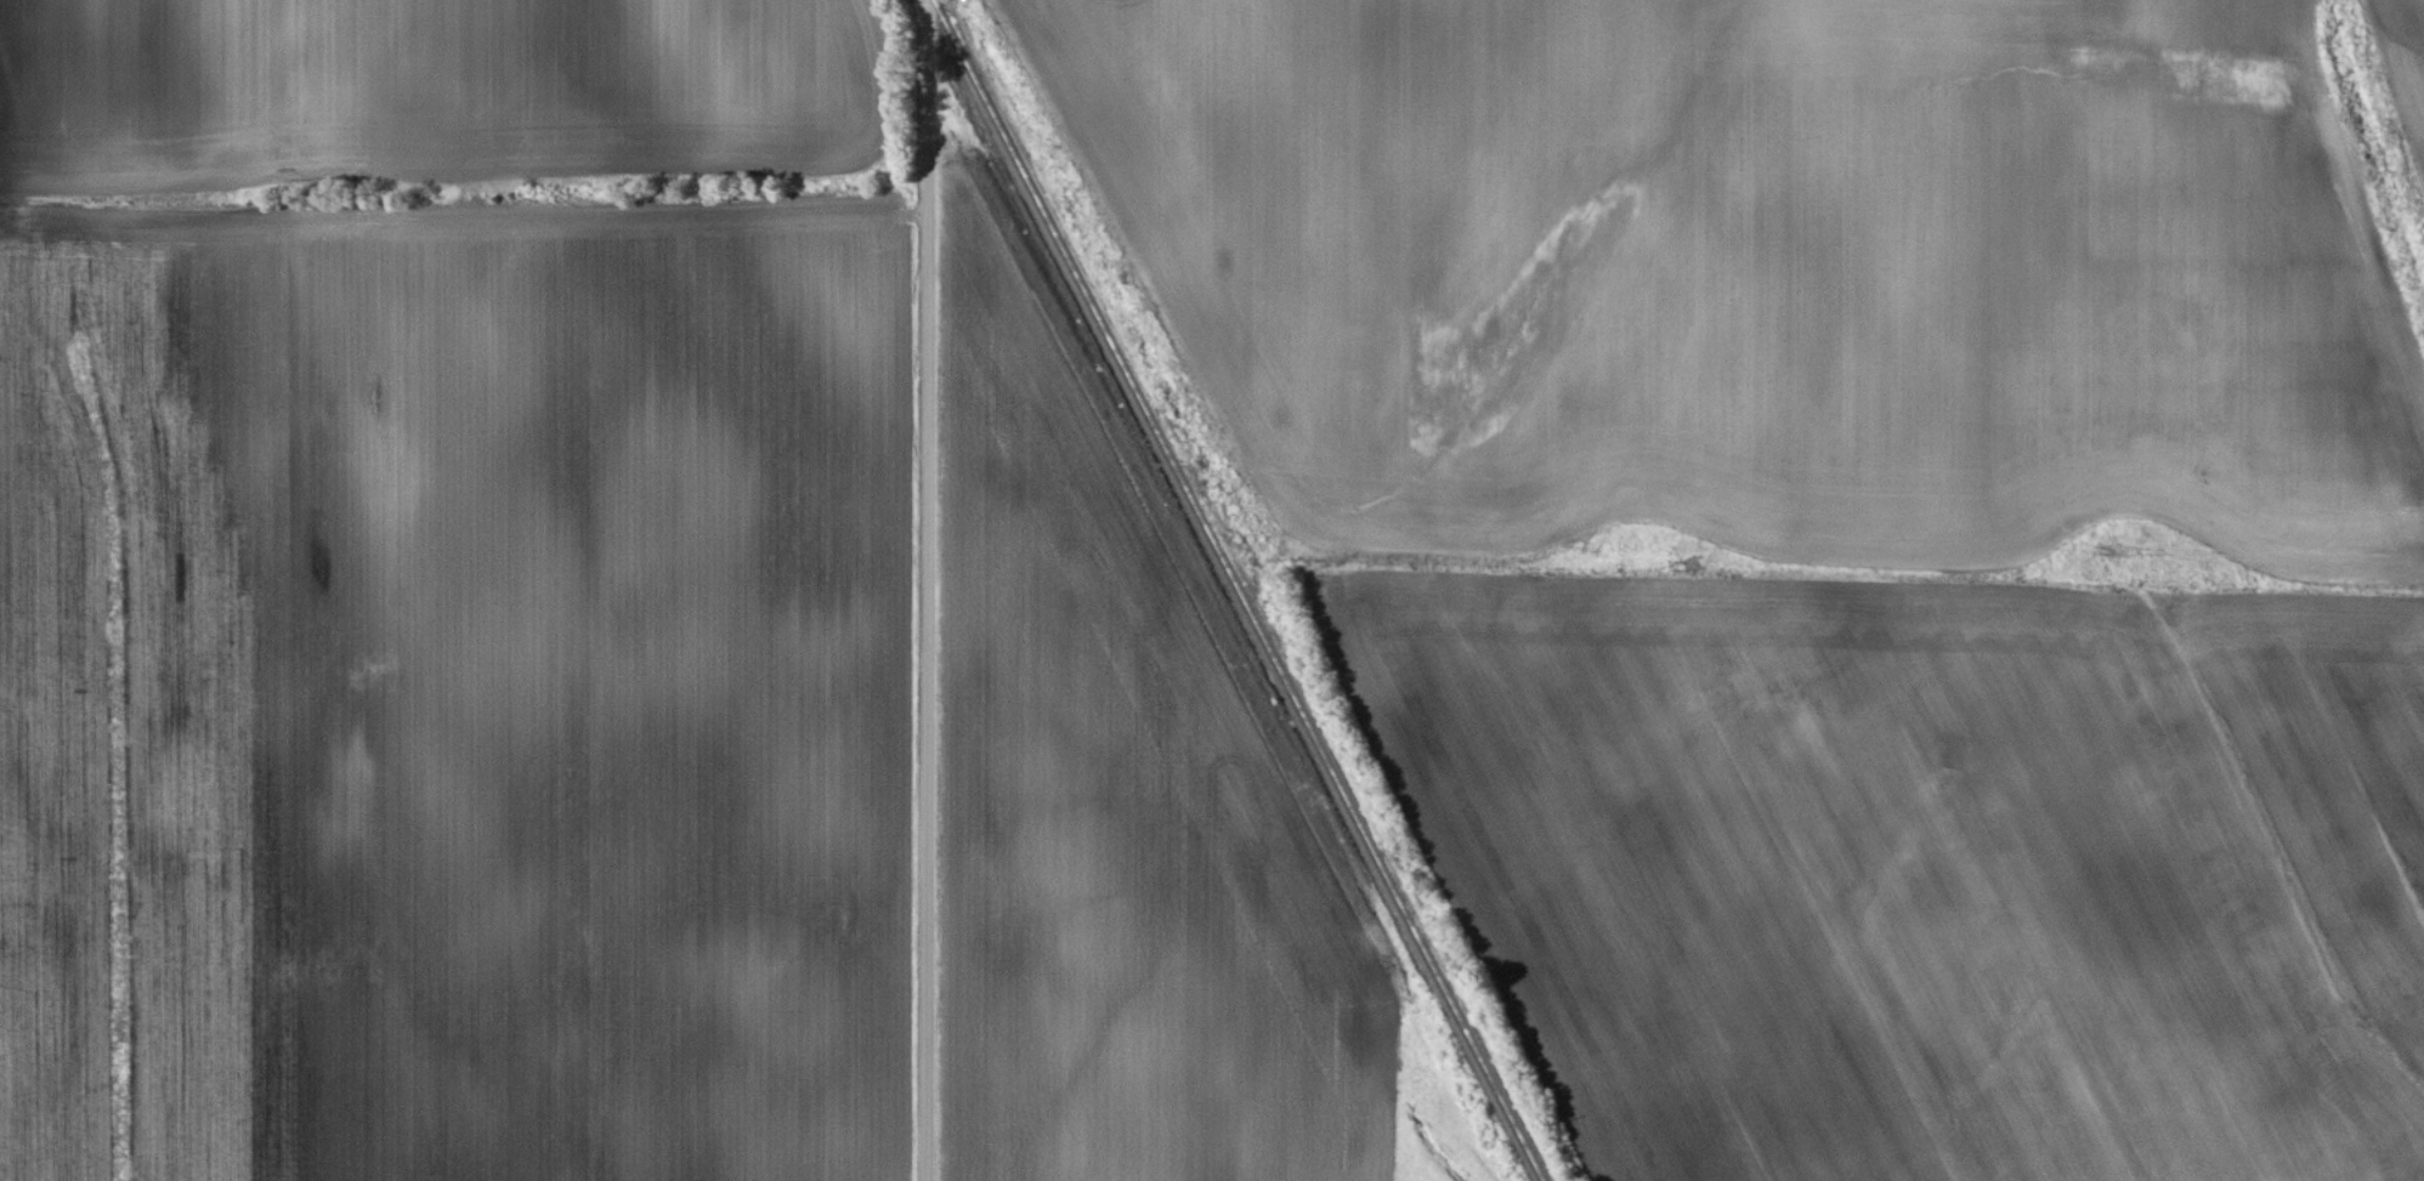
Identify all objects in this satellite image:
road: (927, 590)
railway: (1236, 590)

